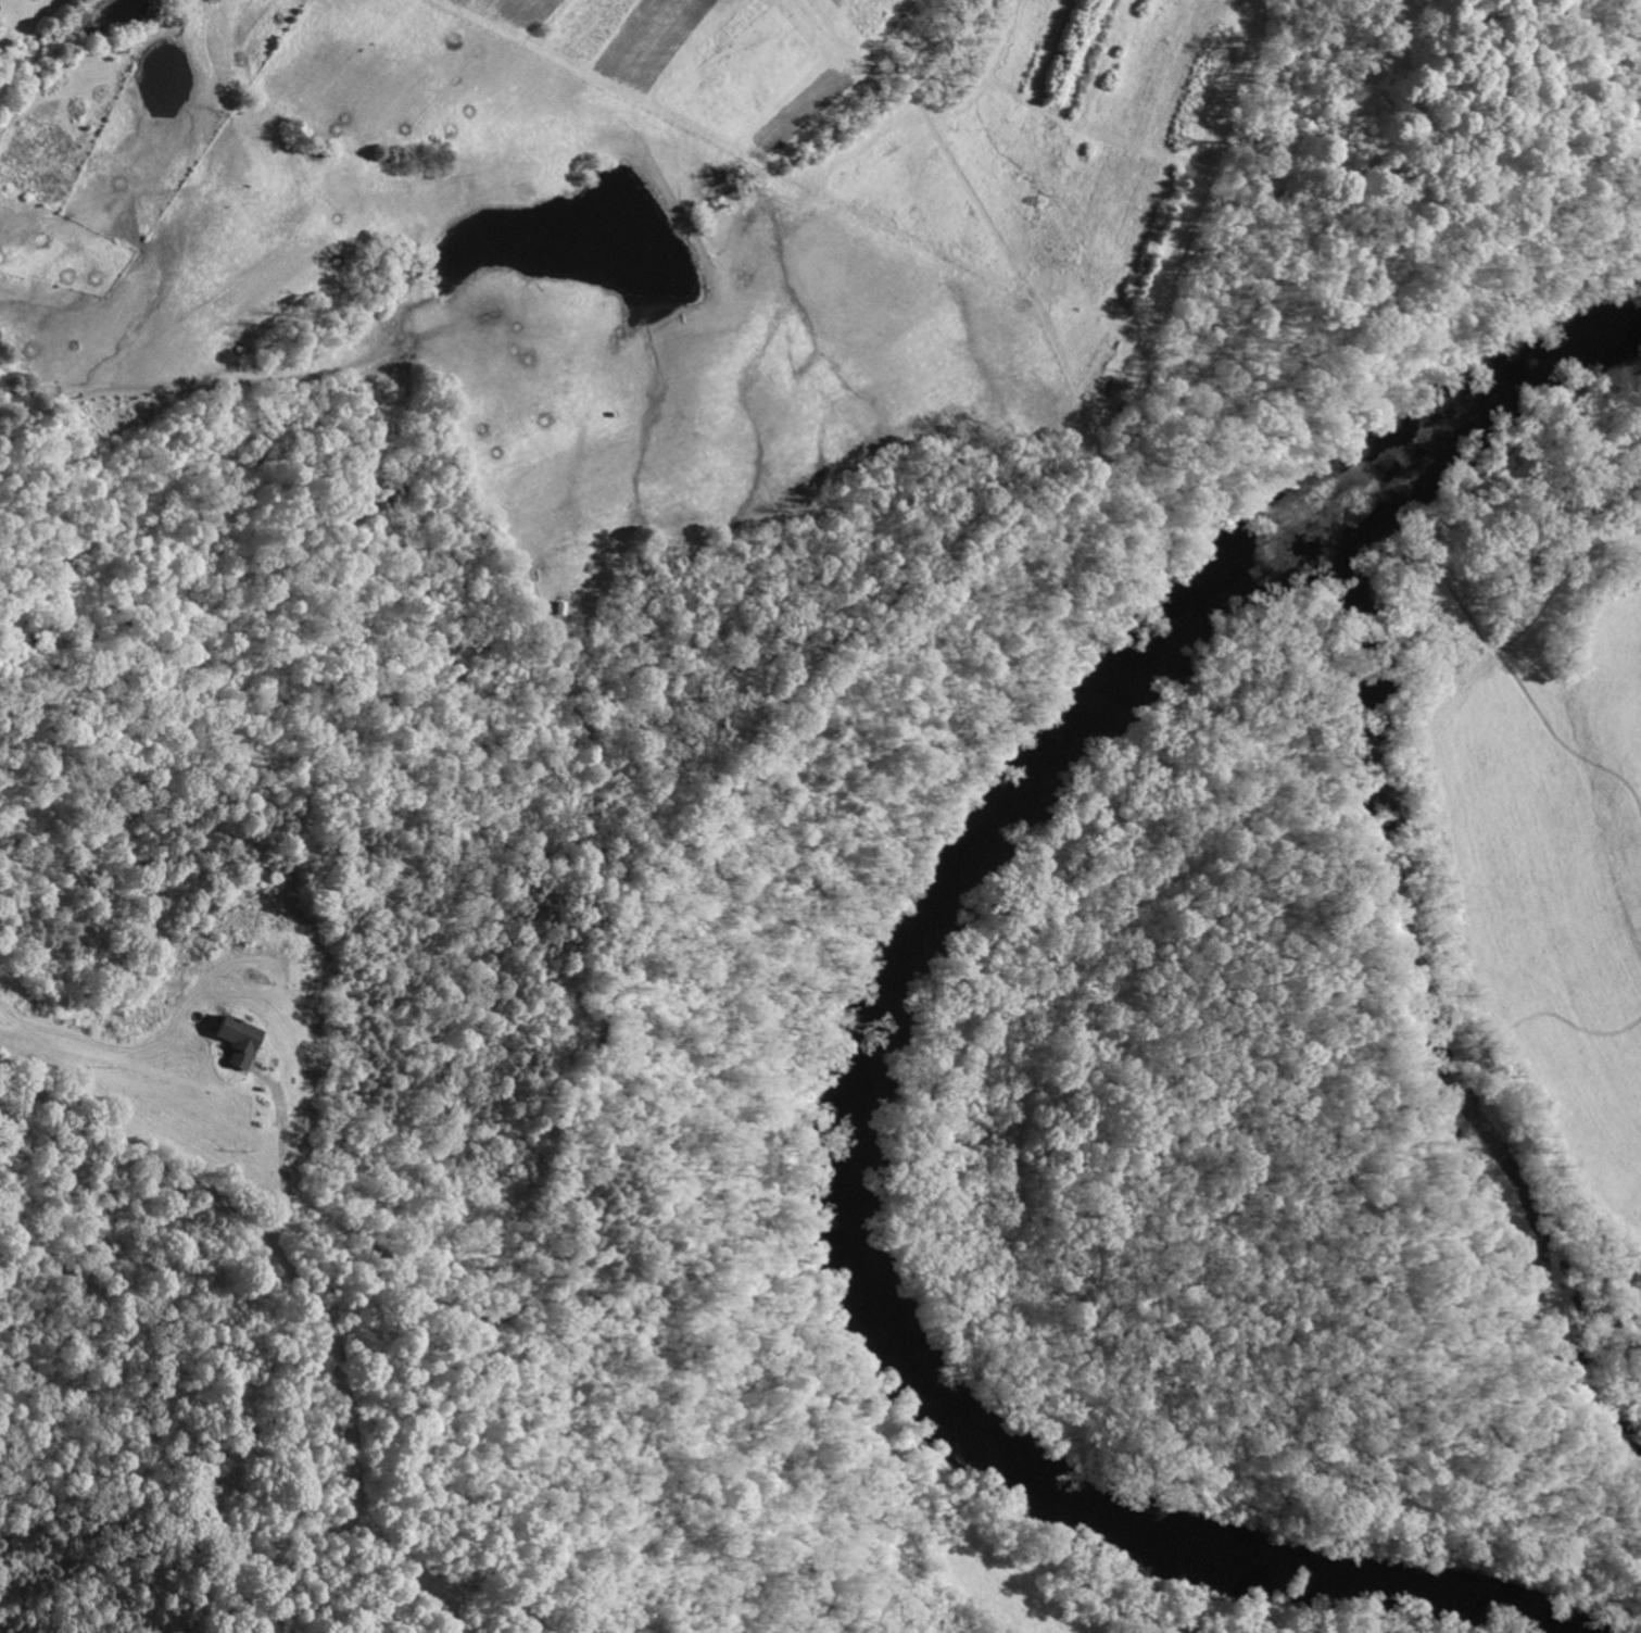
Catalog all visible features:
building: (238, 1041)
river: (860, 1073)
road: (134, 1153)
road: (285, 1157)

